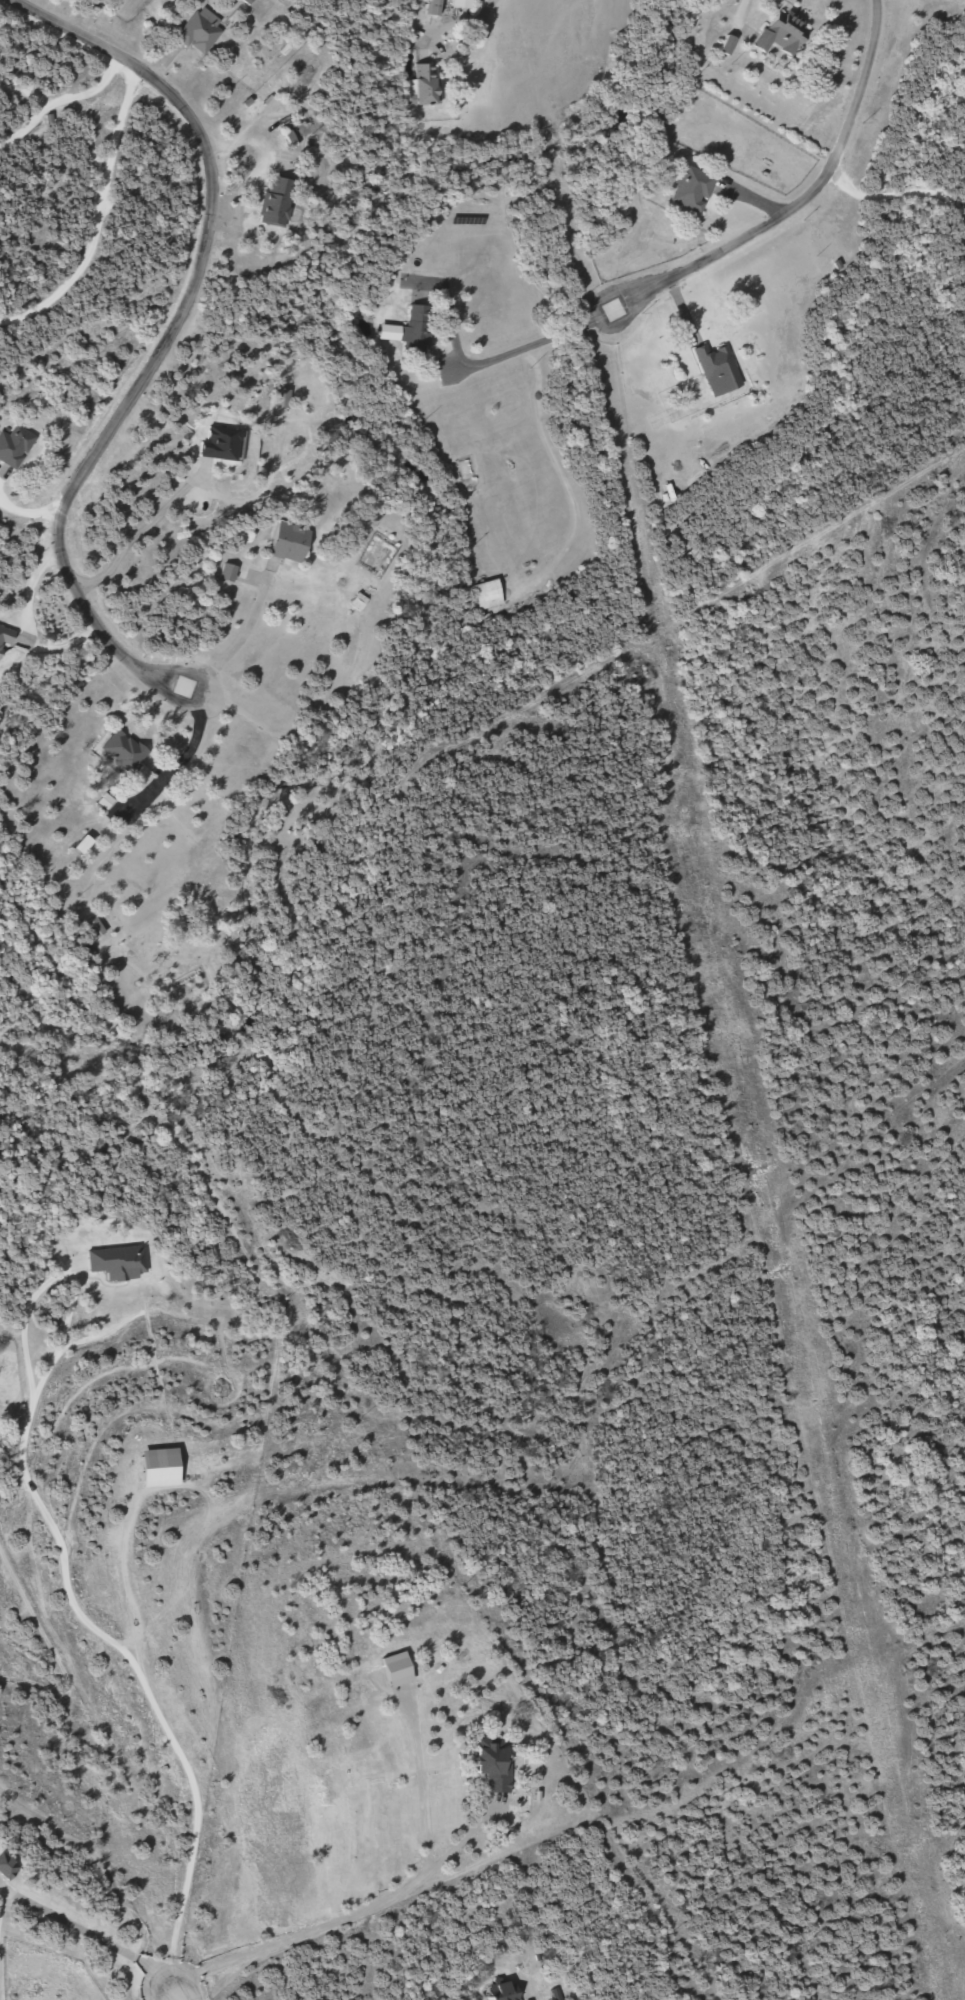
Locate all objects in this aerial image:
building: (464, 3)
building: (437, 6)
road: (555, 16)
building: (202, 31)
building: (785, 34)
building: (729, 44)
road: (56, 73)
building: (429, 84)
road: (906, 182)
building: (694, 187)
building: (281, 202)
road: (809, 203)
road: (93, 210)
building: (414, 330)
road: (532, 332)
road: (167, 336)
building: (720, 369)
building: (286, 399)
building: (223, 443)
building: (16, 445)
building: (293, 542)
building: (696, 557)
building: (491, 594)
building: (5, 642)
building: (128, 751)
building: (97, 928)
road: (204, 1172)
road: (63, 1565)
road: (548, 1742)
building: (495, 1762)
road: (90, 1850)
building: (7, 1866)
road: (397, 1905)
road: (91, 1931)
building: (505, 1992)
road: (174, 1995)

